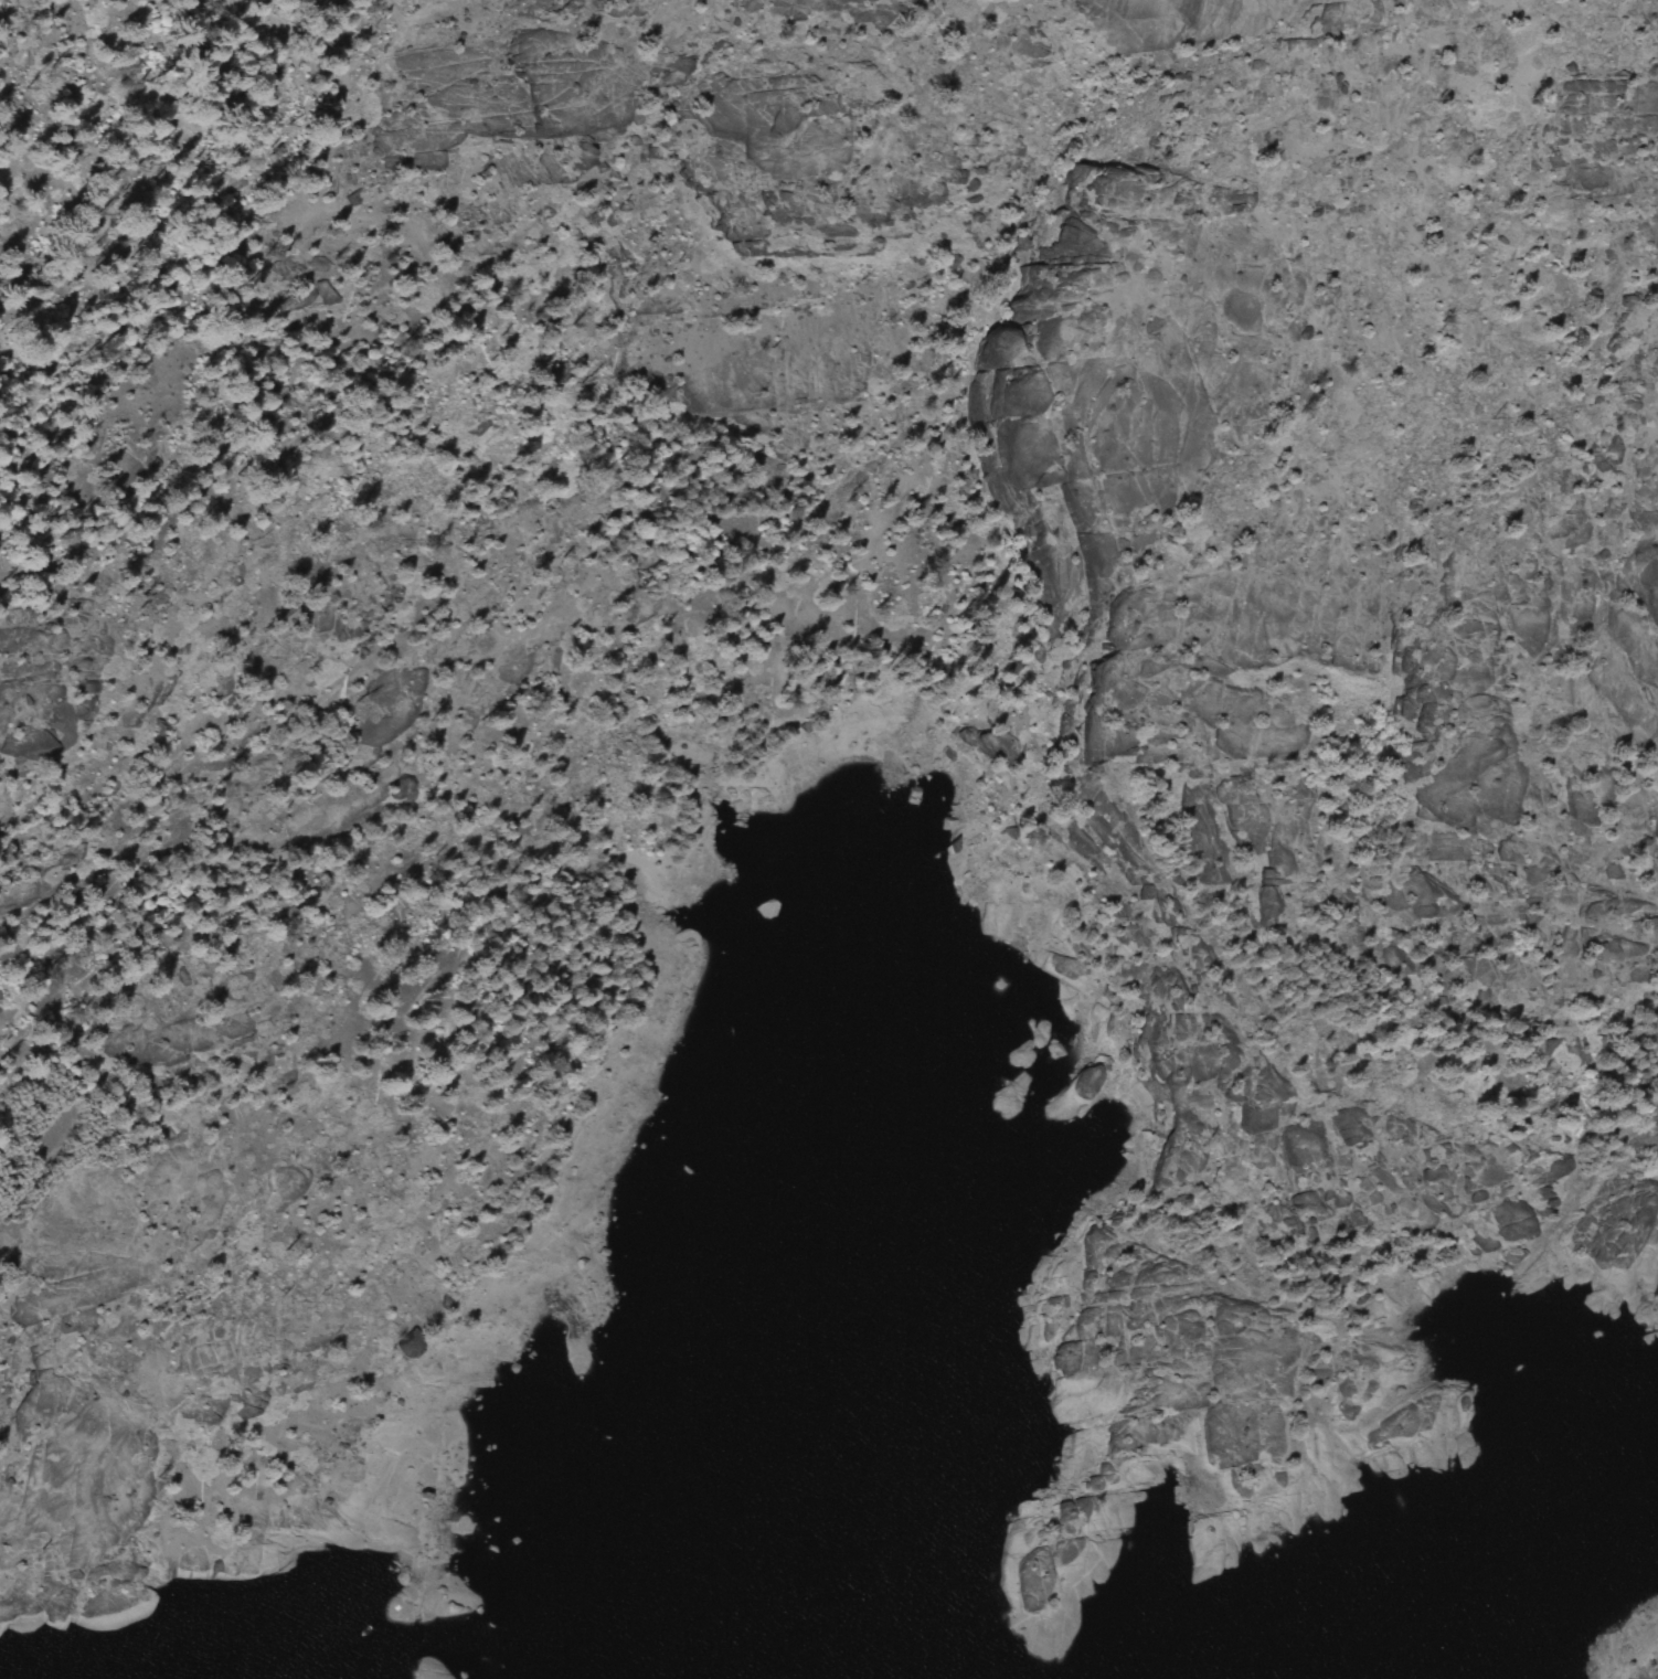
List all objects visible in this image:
road: (402, 50)

